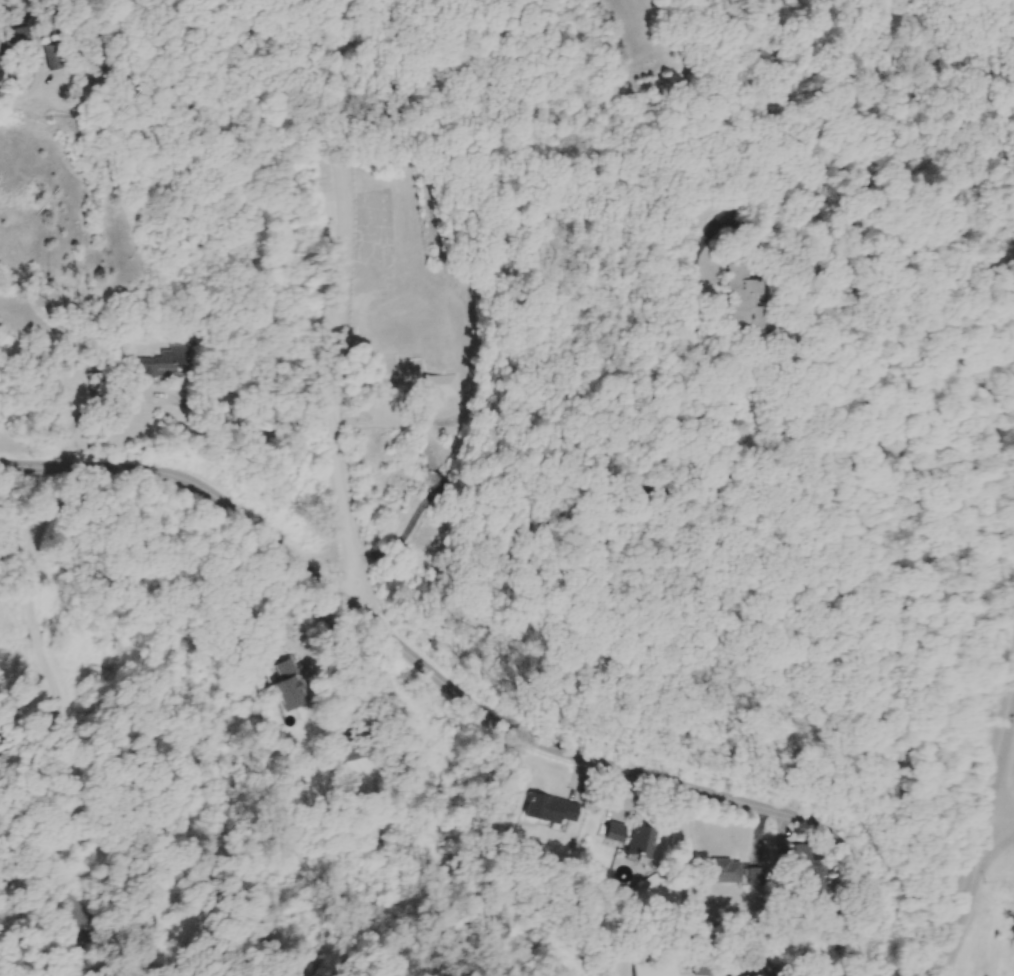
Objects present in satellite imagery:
building: (60, 26)
road: (369, 32)
building: (19, 40)
building: (66, 56)
building: (764, 297)
road: (338, 307)
building: (171, 365)
building: (440, 390)
road: (120, 395)
park: (899, 400)
road: (275, 428)
road: (677, 491)
road: (41, 525)
road: (279, 613)
road: (35, 633)
building: (294, 687)
road: (468, 700)
road: (57, 713)
road: (1000, 765)
building: (555, 810)
road: (999, 825)
building: (619, 833)
building: (644, 842)
building: (731, 872)
building: (761, 877)
road: (962, 900)
park: (993, 909)
road: (154, 963)

